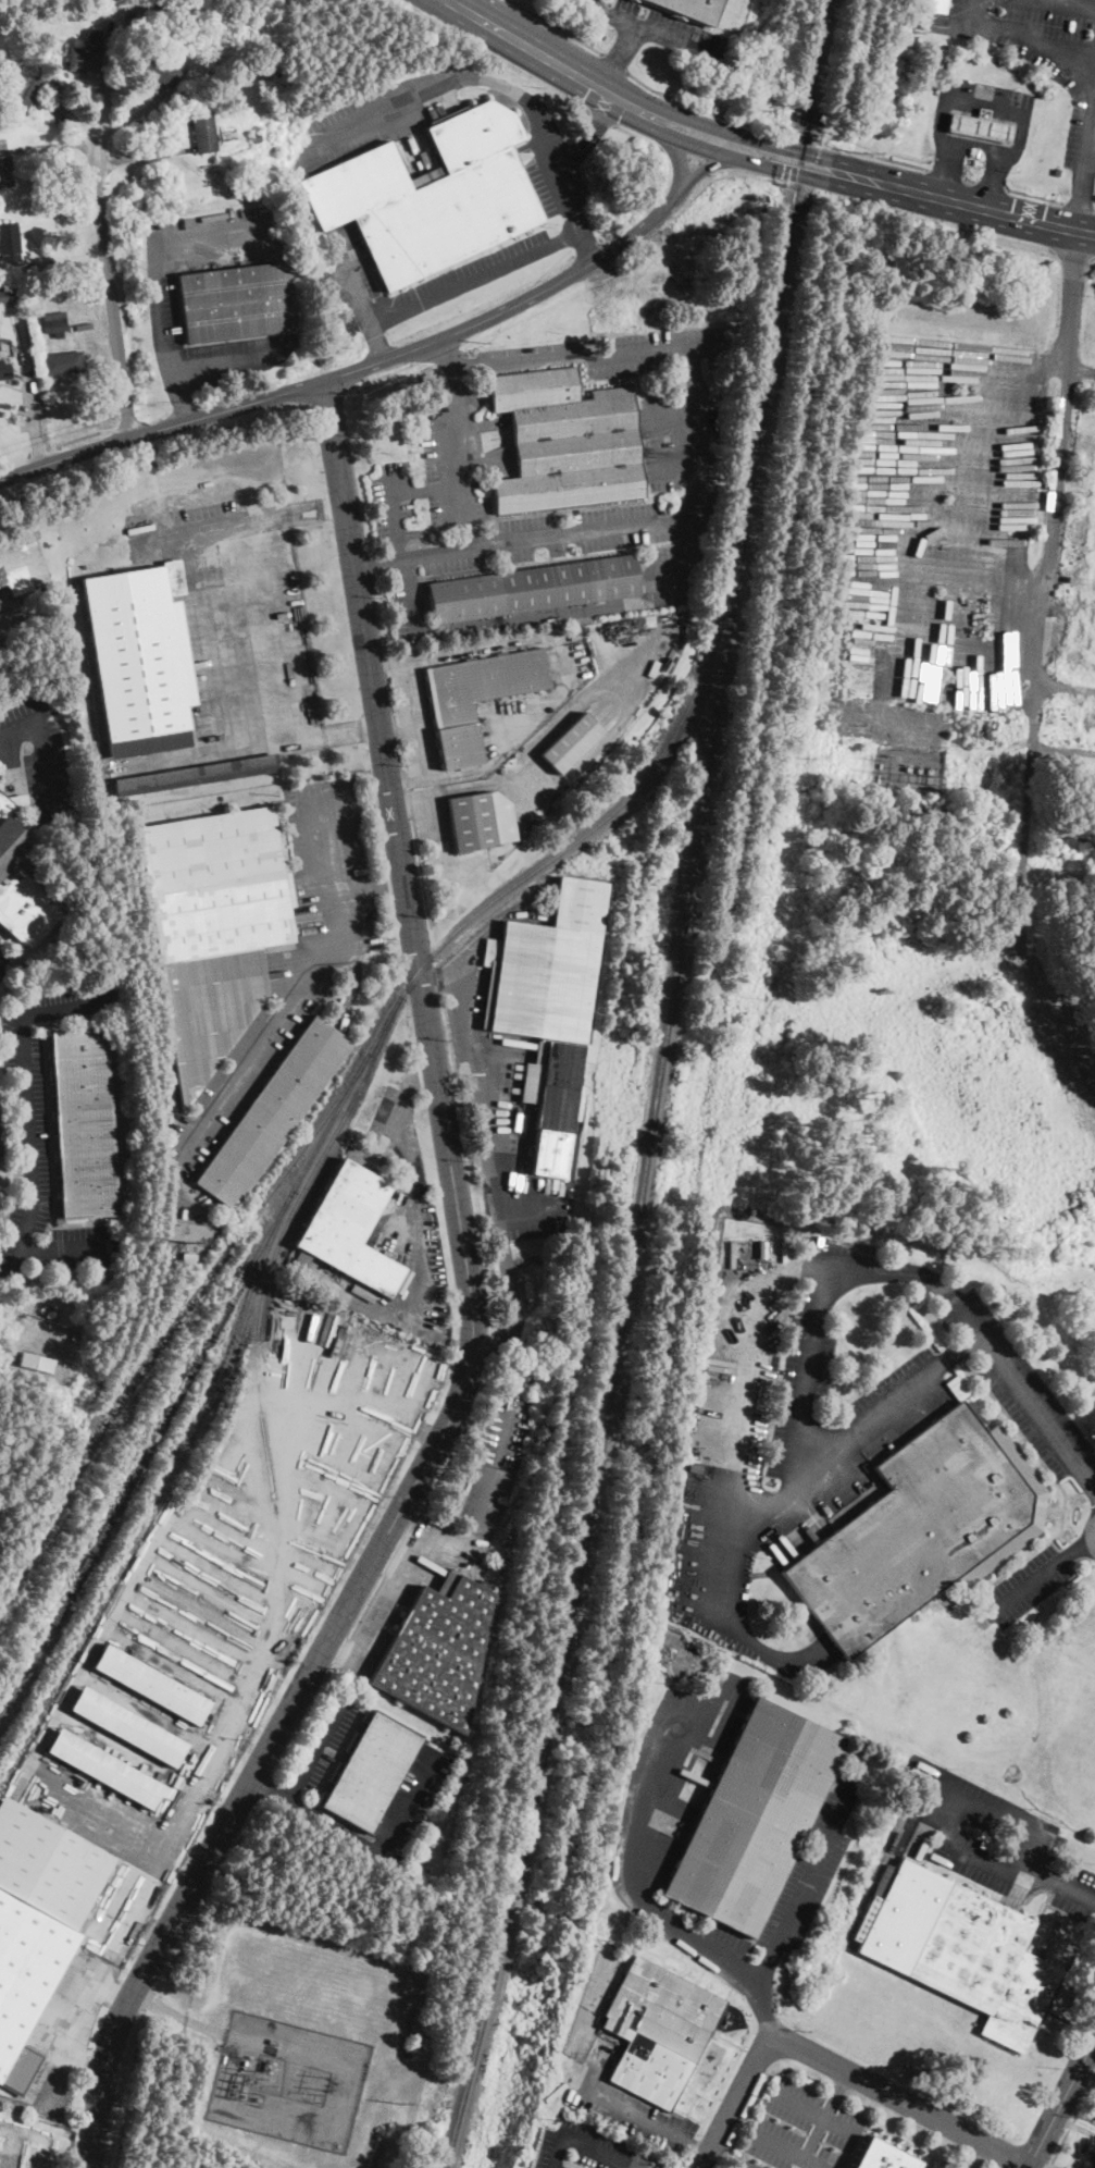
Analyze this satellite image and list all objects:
road: (1063, 3)
building: (932, 5)
building: (94, 7)
building: (690, 9)
road: (969, 10)
road: (556, 26)
parking lot: (661, 27)
road: (655, 30)
road: (1021, 34)
road: (597, 35)
road: (523, 44)
building: (87, 51)
parking lot: (1038, 51)
road: (489, 54)
road: (620, 57)
road: (617, 63)
building: (946, 66)
building: (163, 71)
building: (27, 87)
road: (608, 91)
parking lot: (987, 100)
road: (103, 101)
road: (987, 101)
road: (630, 103)
road: (74, 109)
parking lot: (390, 114)
road: (132, 118)
road: (599, 118)
road: (648, 119)
building: (981, 126)
road: (718, 128)
building: (203, 131)
road: (776, 132)
road: (589, 134)
road: (637, 137)
building: (256, 138)
road: (1090, 139)
road: (979, 141)
road: (46, 145)
road: (705, 148)
road: (311, 150)
road: (676, 151)
road: (142, 156)
road: (719, 164)
road: (774, 165)
road: (947, 165)
building: (5, 171)
road: (994, 172)
road: (946, 175)
road: (969, 181)
road: (991, 186)
building: (430, 196)
road: (1035, 197)
road: (940, 198)
road: (1082, 200)
road: (1079, 207)
road: (1094, 210)
parking lot: (567, 218)
road: (971, 231)
building: (10, 242)
road: (587, 245)
road: (533, 252)
road: (1071, 252)
road: (1094, 257)
road: (52, 259)
road: (110, 290)
building: (11, 291)
parking lot: (163, 301)
building: (236, 303)
road: (158, 309)
building: (601, 320)
building: (54, 322)
road: (95, 337)
road: (586, 355)
road: (12, 361)
building: (63, 362)
road: (359, 368)
road: (1081, 369)
building: (4, 370)
road: (27, 385)
road: (181, 398)
road: (671, 414)
road: (462, 442)
building: (567, 442)
road: (674, 468)
road: (970, 472)
parking lot: (456, 481)
road: (430, 488)
parking lot: (944, 508)
road: (310, 510)
road: (396, 523)
road: (546, 538)
building: (21, 563)
road: (377, 564)
building: (533, 589)
road: (204, 600)
parking lot: (3, 601)
road: (634, 603)
parking lot: (244, 617)
road: (485, 645)
building: (141, 658)
road: (387, 662)
road: (1040, 668)
road: (1067, 688)
building: (477, 697)
road: (632, 697)
parking lot: (413, 716)
road: (411, 719)
road: (515, 737)
building: (571, 742)
road: (248, 749)
road: (43, 751)
parking lot: (40, 757)
power substation: (909, 766)
building: (197, 774)
road: (405, 783)
road: (445, 794)
building: (561, 797)
road: (374, 800)
road: (339, 805)
parking lot: (430, 815)
road: (432, 817)
building: (480, 821)
railway: (624, 870)
building: (21, 884)
road: (371, 889)
building: (213, 927)
road: (1, 960)
parking lot: (3, 963)
parking lot: (284, 973)
road: (354, 975)
road: (438, 977)
building: (548, 1005)
railway: (394, 1011)
railway: (140, 1018)
road: (283, 1020)
road: (419, 1073)
railway: (659, 1088)
road: (474, 1091)
parking lot: (498, 1106)
building: (272, 1112)
building: (85, 1122)
parking lot: (46, 1129)
road: (28, 1133)
road: (570, 1171)
building: (347, 1228)
parking lot: (402, 1232)
railway: (590, 1256)
building: (189, 1257)
road: (12, 1262)
railway: (147, 1266)
road: (848, 1267)
road: (421, 1268)
railway: (211, 1274)
road: (511, 1292)
road: (473, 1315)
road: (385, 1330)
parking lot: (813, 1336)
building: (37, 1363)
road: (351, 1370)
road: (374, 1374)
road: (807, 1377)
road: (291, 1381)
road: (396, 1382)
parking lot: (1020, 1385)
road: (415, 1390)
road: (427, 1396)
parking lot: (897, 1402)
road: (303, 1404)
railway: (211, 1406)
road: (365, 1417)
road: (315, 1429)
road: (244, 1453)
road: (273, 1457)
road: (336, 1457)
building: (696, 1457)
railway: (558, 1464)
road: (825, 1464)
parking lot: (496, 1466)
railway: (144, 1469)
road: (495, 1471)
road: (240, 1474)
road: (339, 1486)
road: (1092, 1487)
road: (265, 1491)
road: (237, 1492)
road: (333, 1500)
road: (236, 1513)
road: (324, 1518)
building: (921, 1529)
road: (234, 1530)
road: (445, 1536)
road: (318, 1538)
road: (1080, 1548)
road: (222, 1551)
road: (395, 1552)
road: (310, 1557)
railway: (80, 1573)
road: (219, 1573)
road: (306, 1579)
road: (1026, 1585)
parking lot: (1024, 1586)
building: (327, 1590)
road: (387, 1593)
road: (213, 1594)
parking lot: (711, 1596)
road: (204, 1611)
road: (323, 1618)
road: (298, 1622)
road: (195, 1628)
road: (754, 1639)
road: (184, 1648)
building: (438, 1650)
road: (339, 1652)
road: (92, 1653)
road: (174, 1666)
building: (151, 1685)
road: (151, 1710)
building: (128, 1726)
road: (107, 1740)
parking lot: (327, 1744)
road: (316, 1751)
building: (370, 1767)
building: (105, 1769)
road: (405, 1800)
road: (190, 1803)
parking lot: (410, 1803)
parking lot: (661, 1806)
road: (313, 1814)
building: (754, 1818)
road: (104, 1821)
parking lot: (999, 1841)
road: (1011, 1872)
road: (1056, 1877)
building: (37, 1923)
road: (699, 1942)
building: (960, 1948)
road: (115, 1990)
road: (761, 2012)
road: (184, 2018)
building: (658, 2030)
parking lot: (67, 2034)
road: (58, 2061)
road: (837, 2069)
road: (1086, 2072)
road: (585, 2080)
power substation: (288, 2081)
parking lot: (622, 2102)
road: (1060, 2102)
road: (816, 2111)
road: (1078, 2111)
road: (824, 2121)
road: (1073, 2126)
parking lot: (802, 2130)
road: (16, 2134)
road: (582, 2144)
parking lot: (583, 2147)
road: (1084, 2149)
road: (787, 2151)
road: (699, 2152)
road: (29, 2153)
building: (884, 2156)
road: (978, 2156)
road: (14, 2157)
building: (1092, 2161)
road: (710, 2165)
road: (1037, 2165)
parking lot: (945, 2167)

